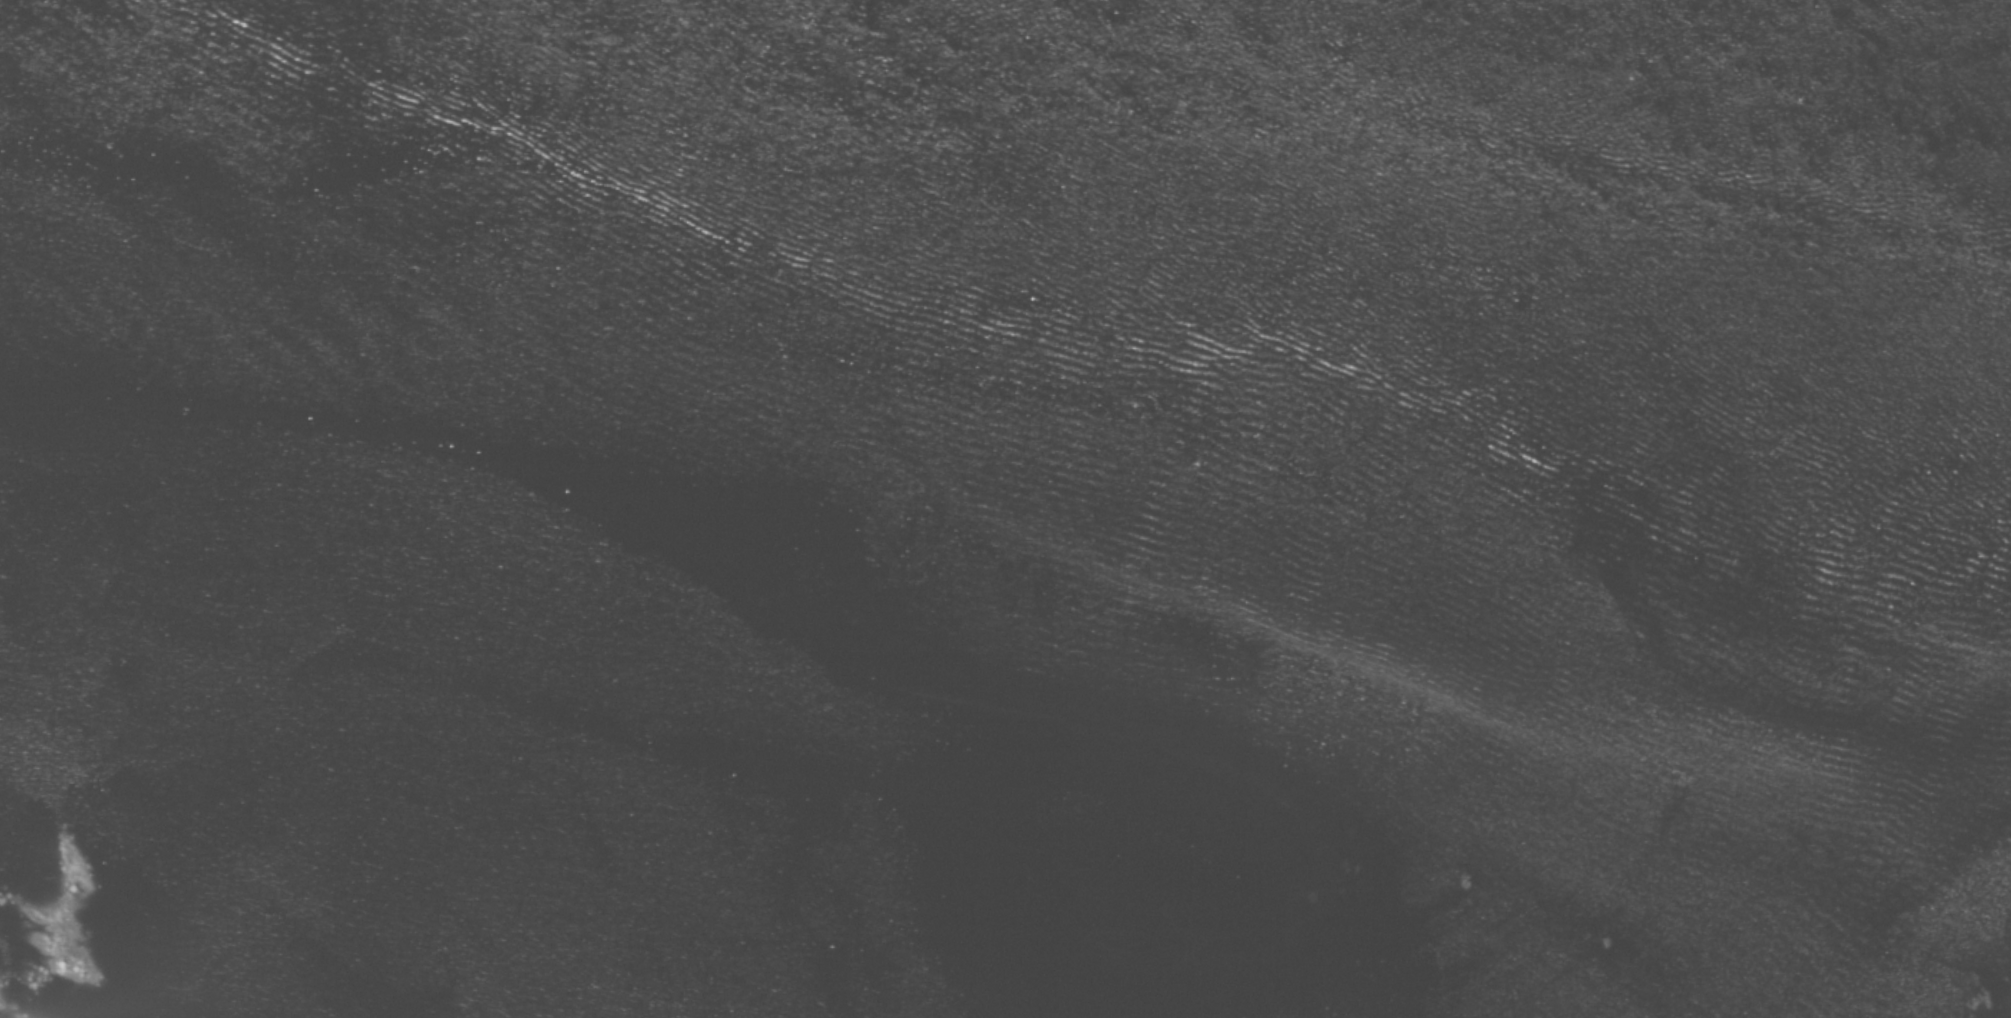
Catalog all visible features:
river: (2003, 2)

